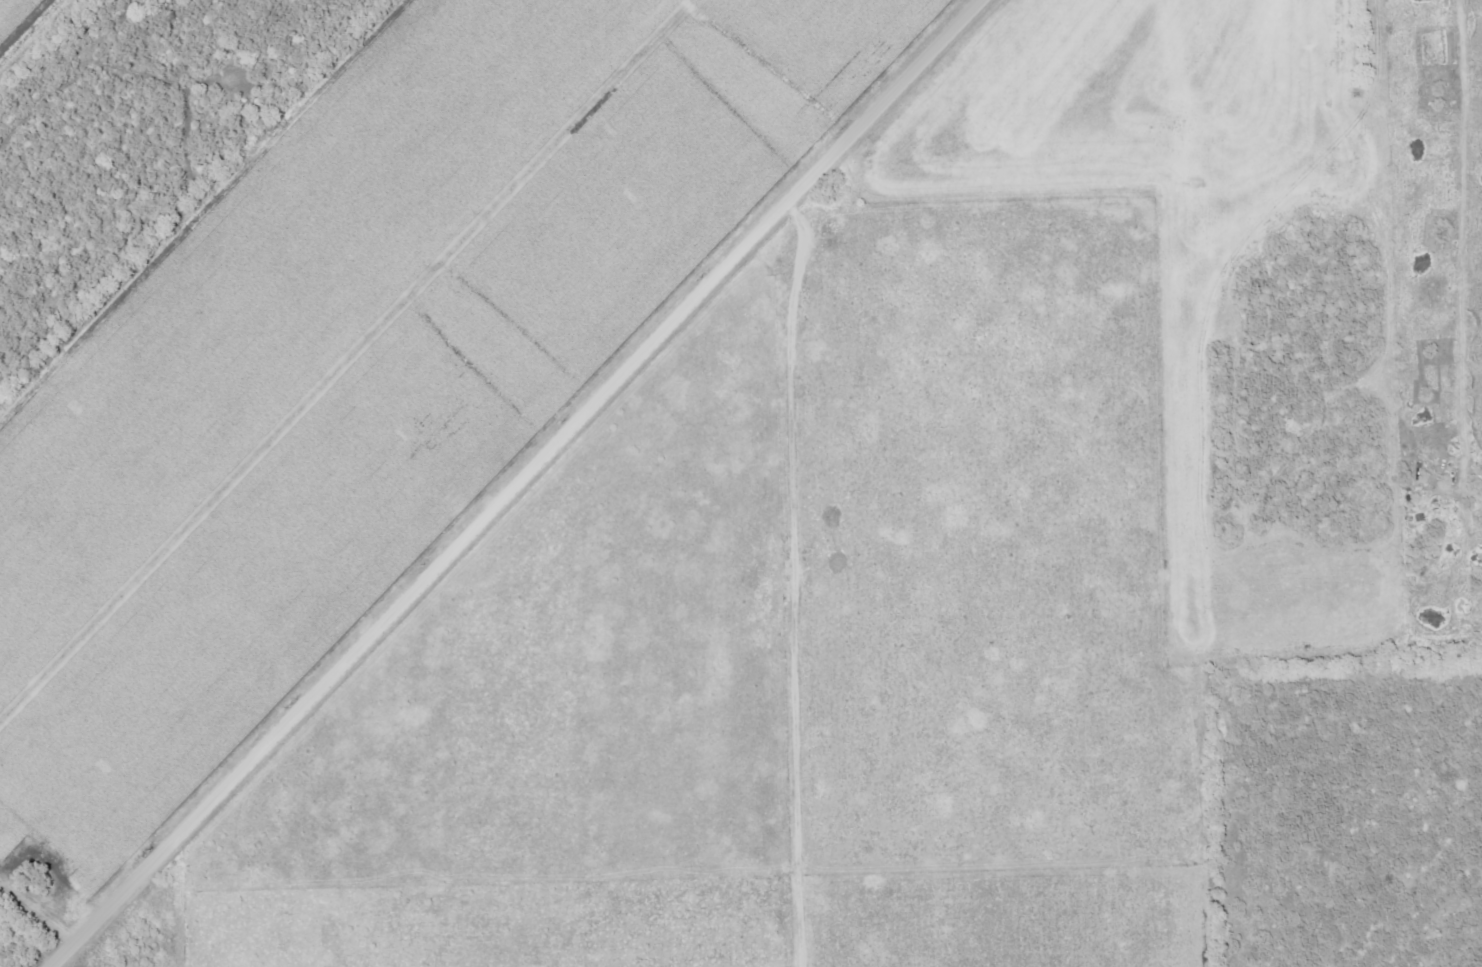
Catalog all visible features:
road: (517, 483)

